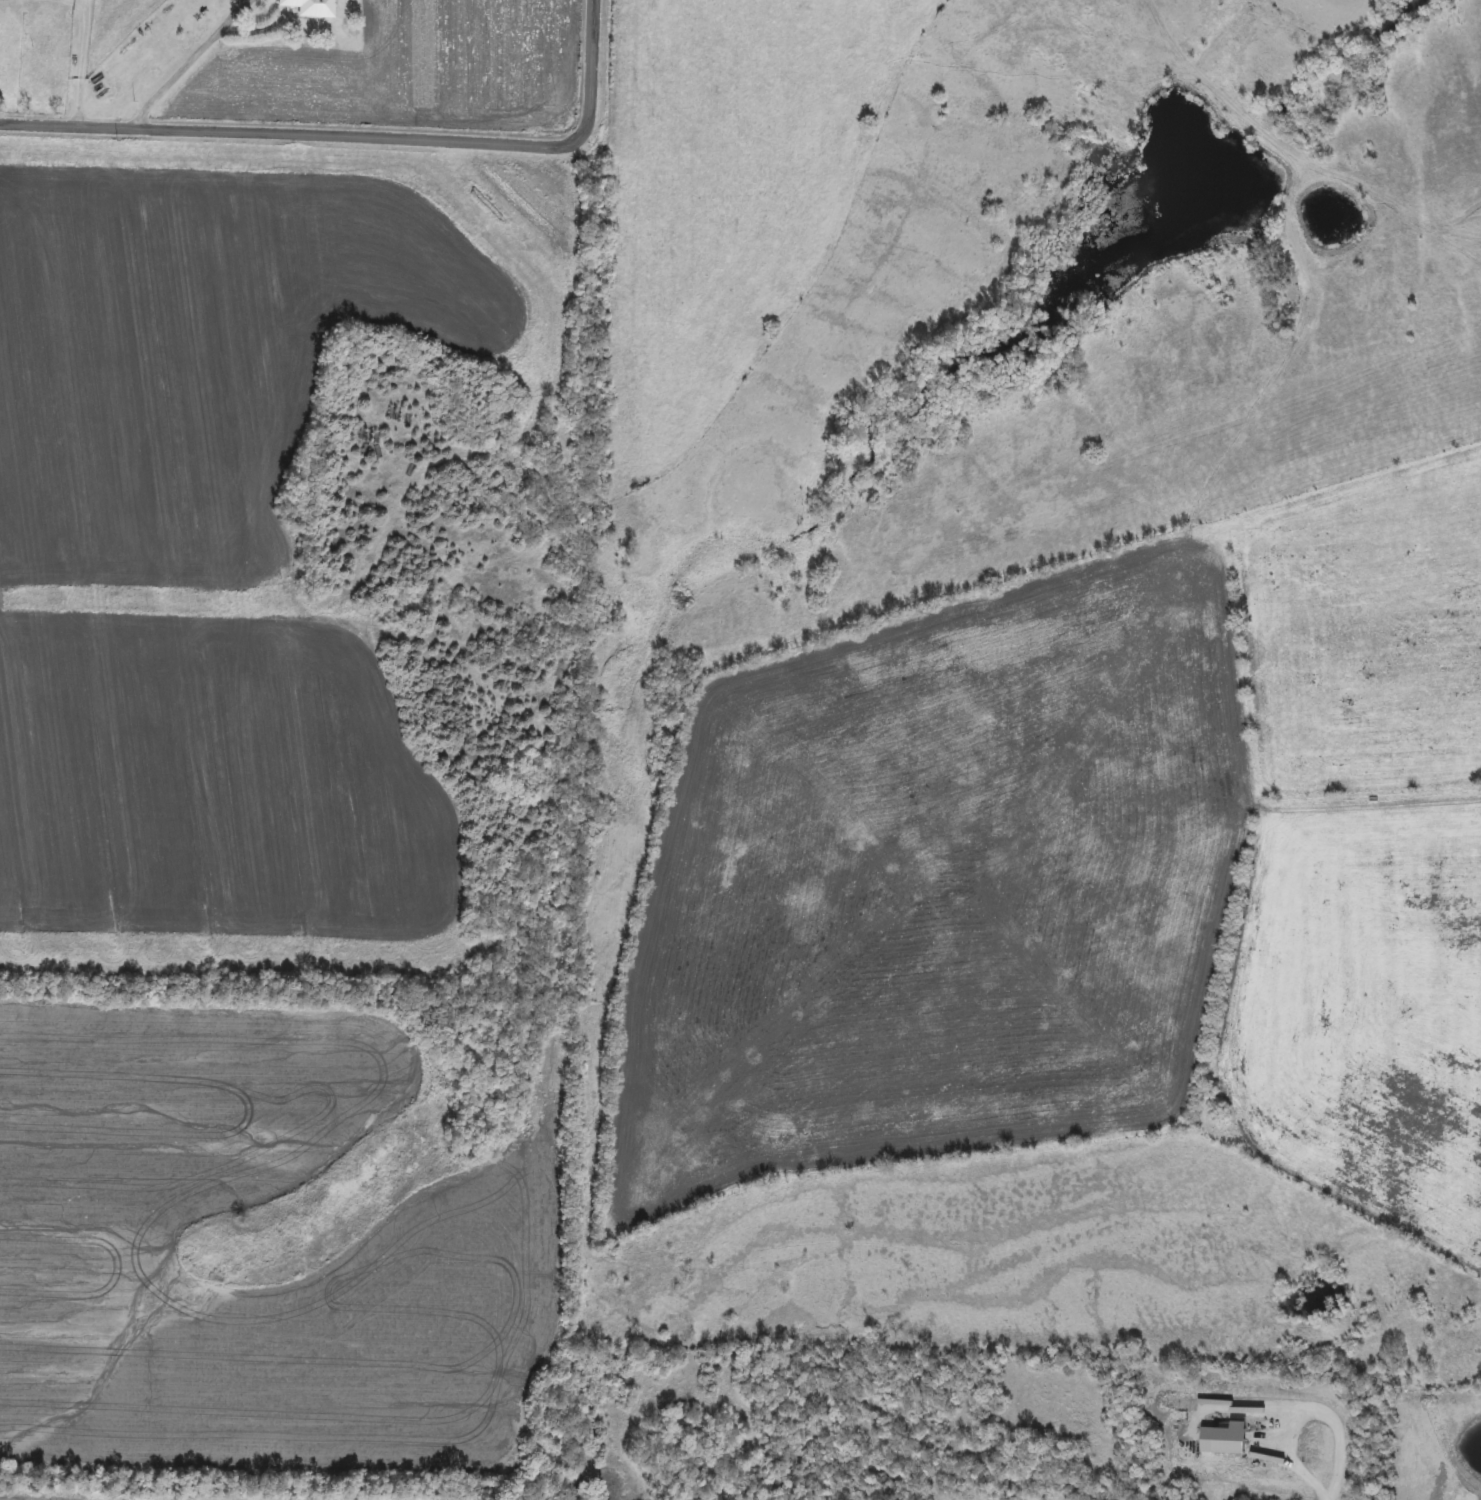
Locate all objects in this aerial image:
building: (310, 7)
road: (189, 61)
road: (82, 71)
road: (357, 136)

